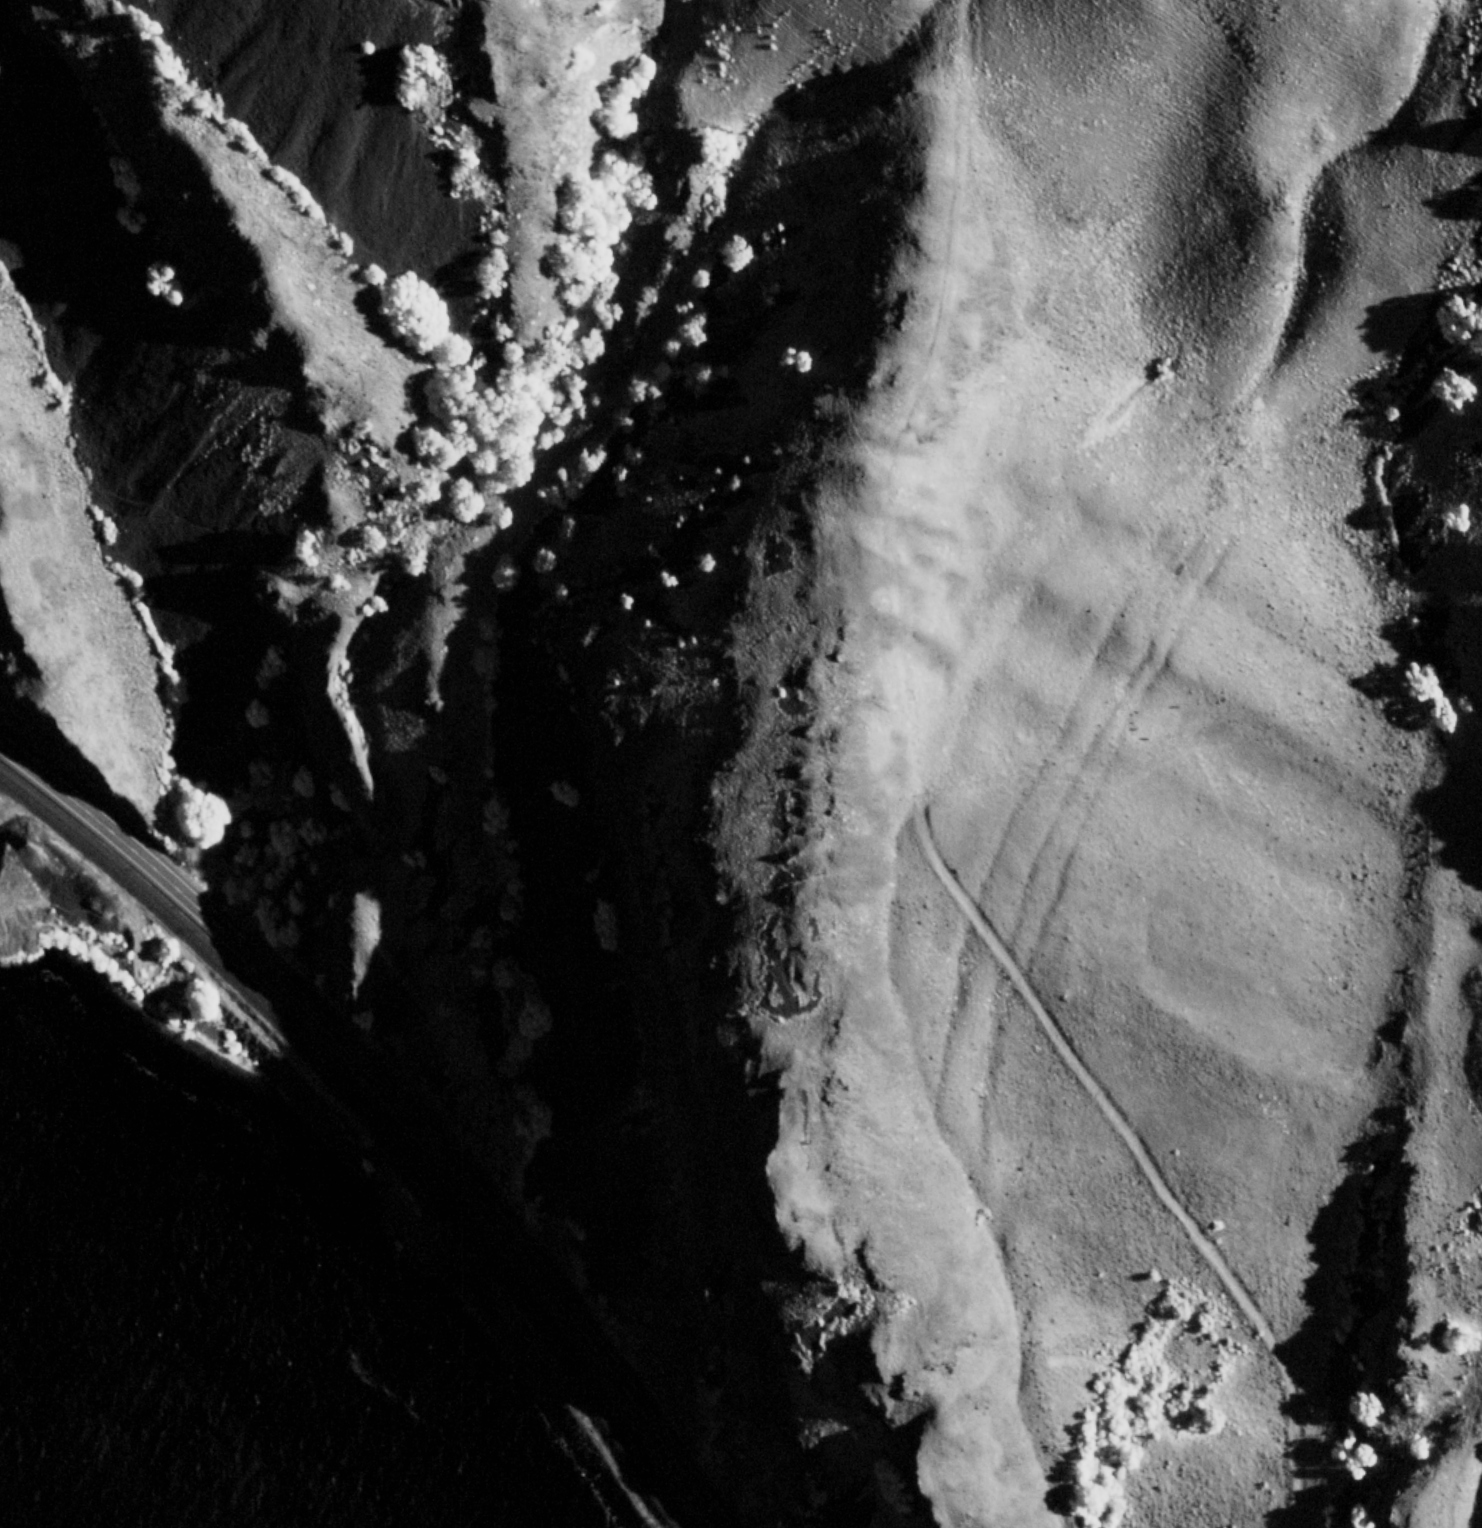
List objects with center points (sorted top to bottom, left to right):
road: (396, 1105)
railway: (370, 1124)

